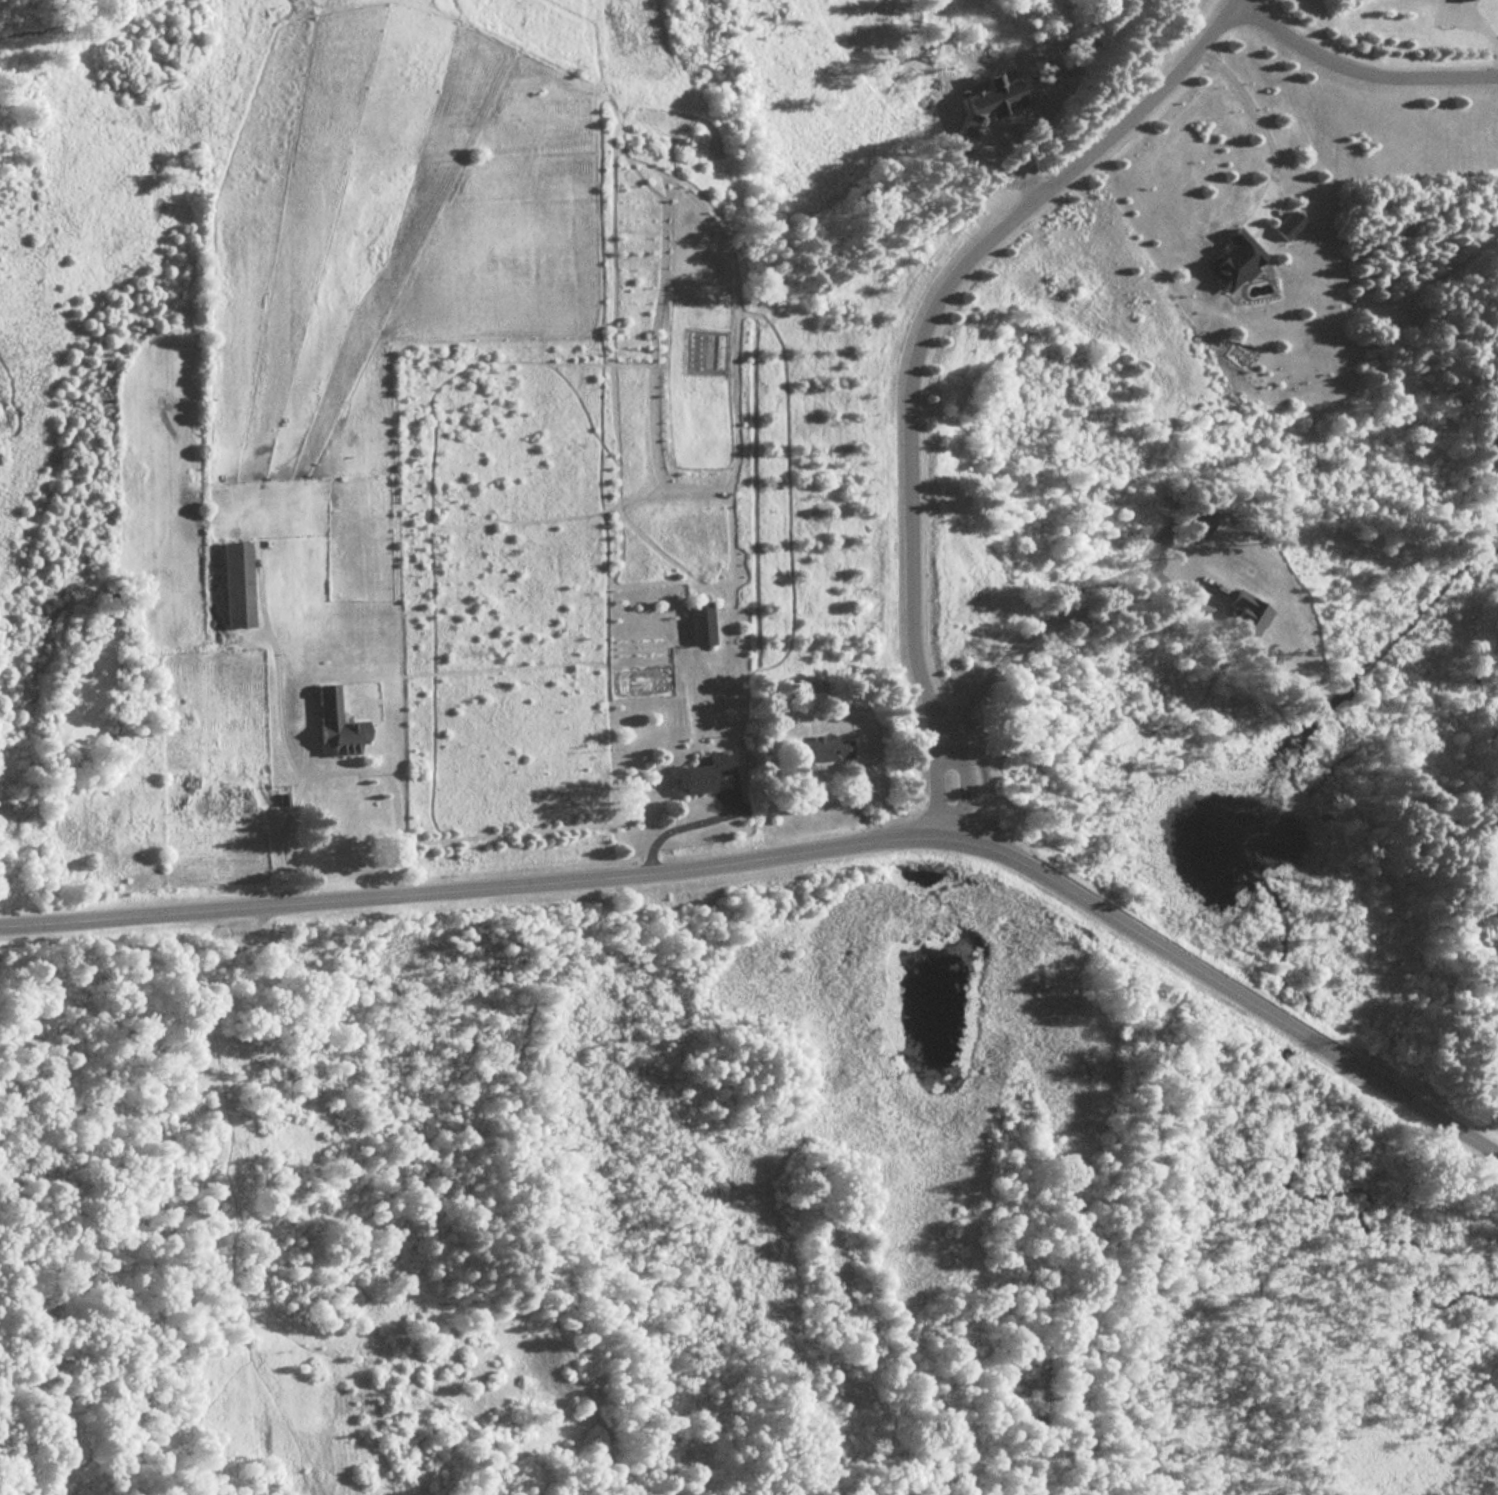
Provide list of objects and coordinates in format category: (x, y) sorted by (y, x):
road: (1473, 20)
road: (1356, 72)
road: (1263, 128)
road: (912, 357)
building: (232, 584)
road: (1063, 613)
building: (698, 624)
road: (277, 704)
building: (332, 724)
building: (825, 750)
road: (338, 772)
building: (699, 775)
building: (219, 807)
road: (673, 828)
road: (791, 852)
parking lot: (261, 930)
park: (716, 1206)
road: (1109, 1259)
road: (238, 1300)

